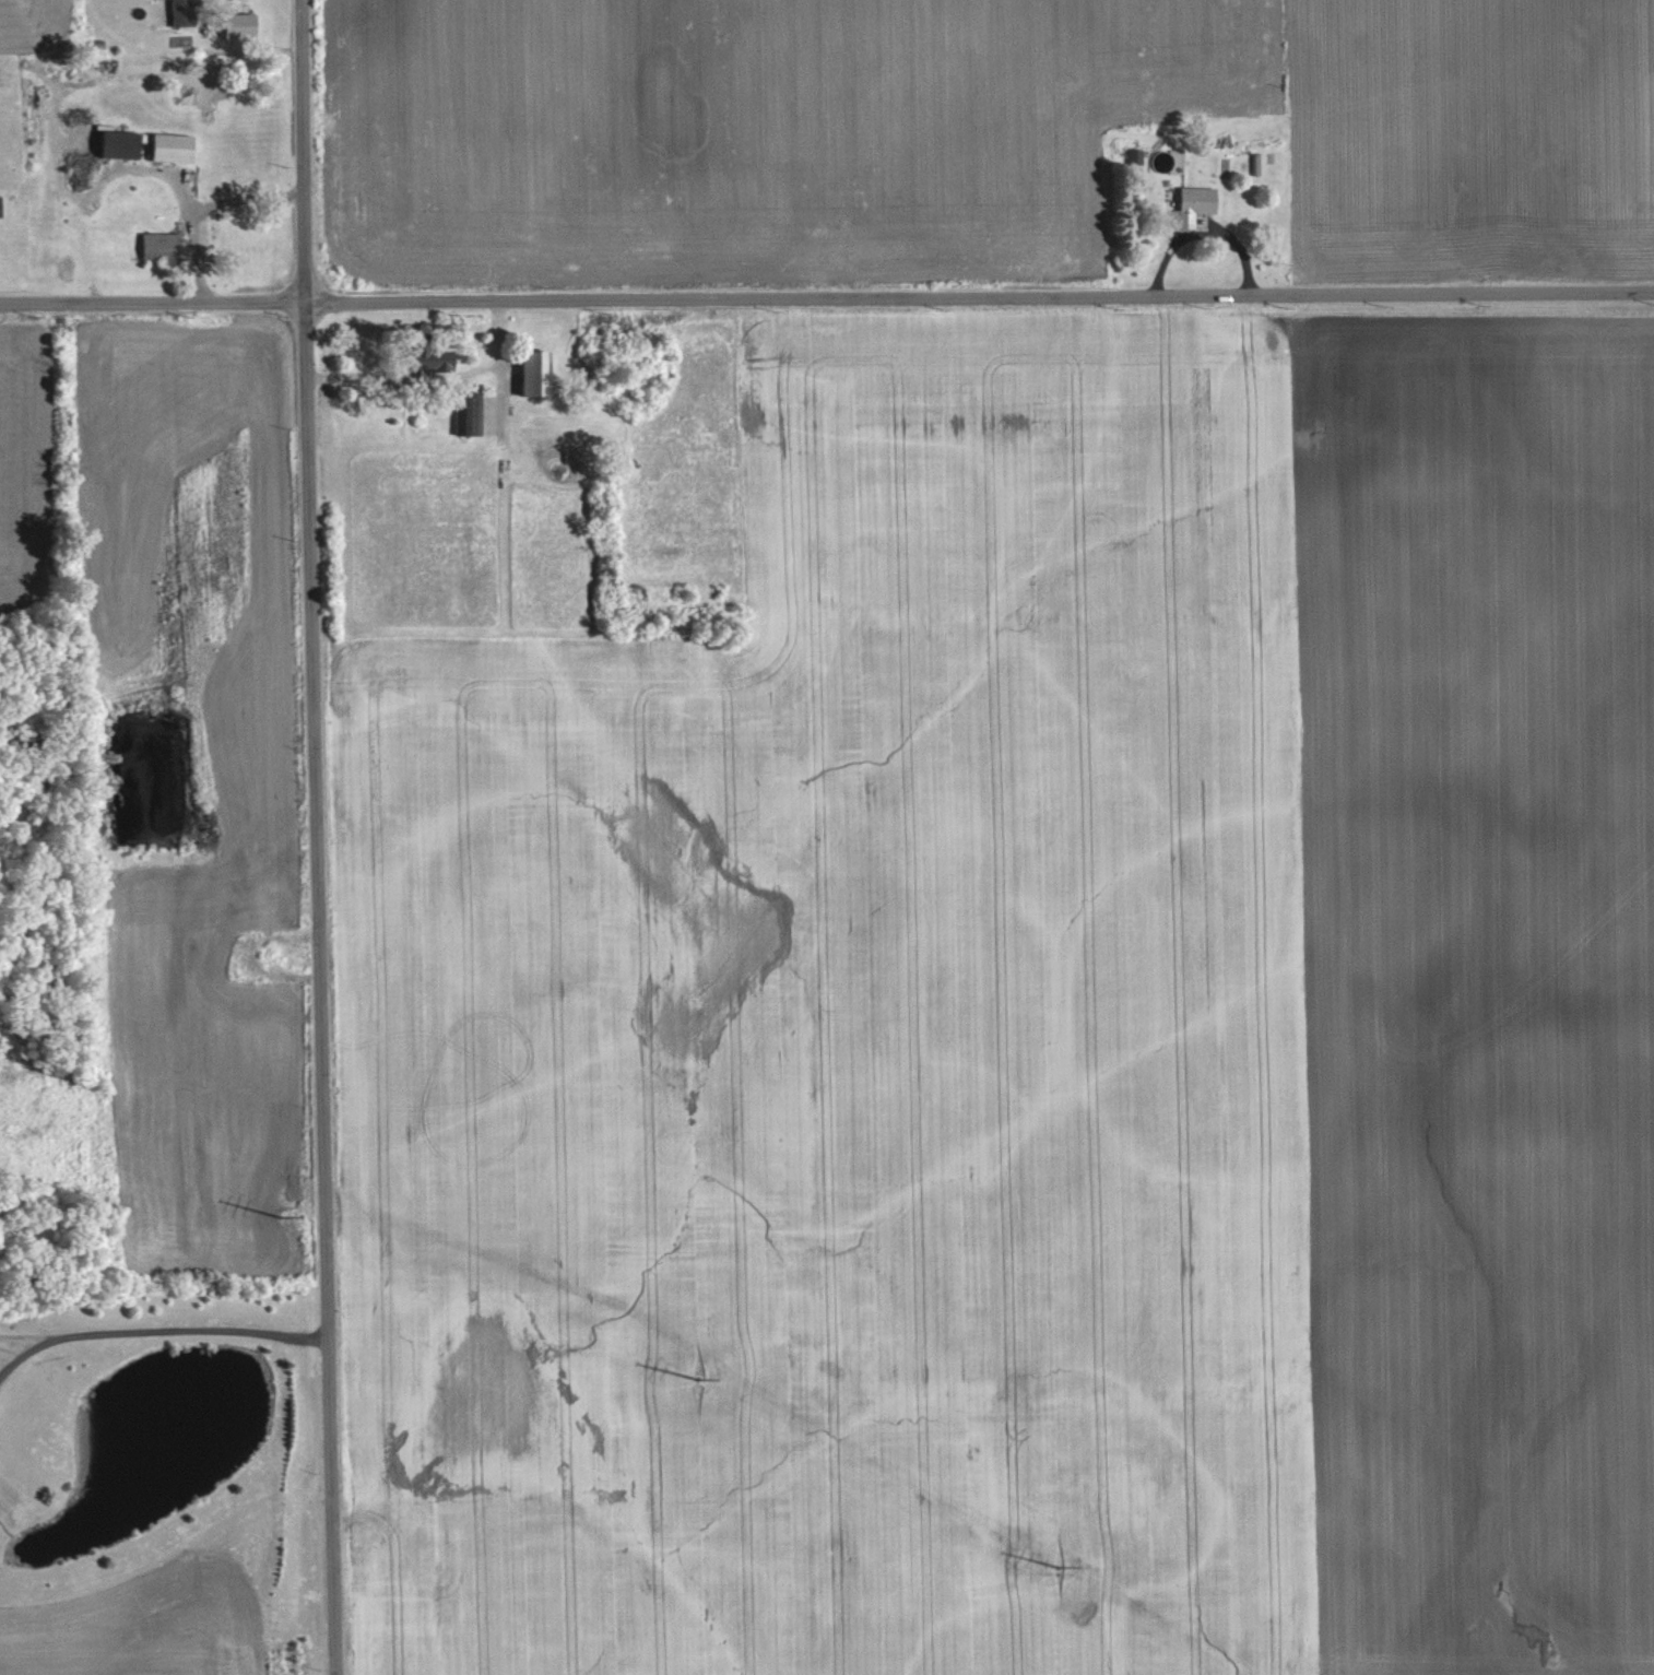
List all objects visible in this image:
building: (174, 3)
building: (232, 24)
building: (108, 143)
building: (162, 146)
building: (1252, 163)
building: (1188, 203)
road: (208, 210)
building: (154, 245)
road: (827, 297)
building: (407, 357)
building: (440, 359)
building: (523, 371)
road: (437, 379)
building: (464, 413)
road: (317, 837)
power tower: (277, 1210)
road: (156, 1333)
road: (26, 1341)
power tower: (693, 1372)
power tower: (1056, 1560)

